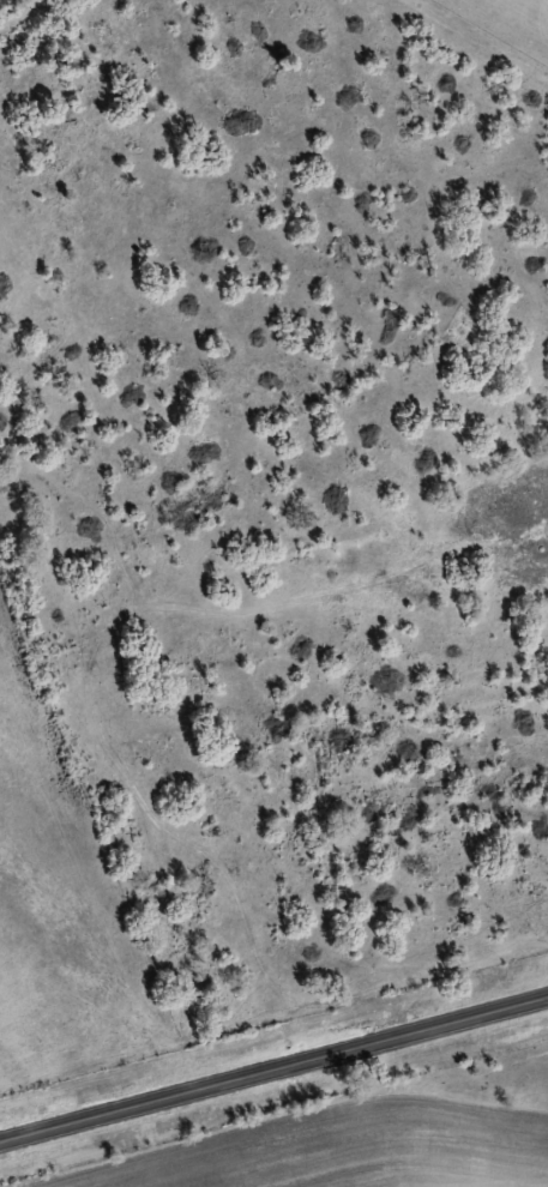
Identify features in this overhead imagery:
road: (273, 1068)
road: (29, 1161)

